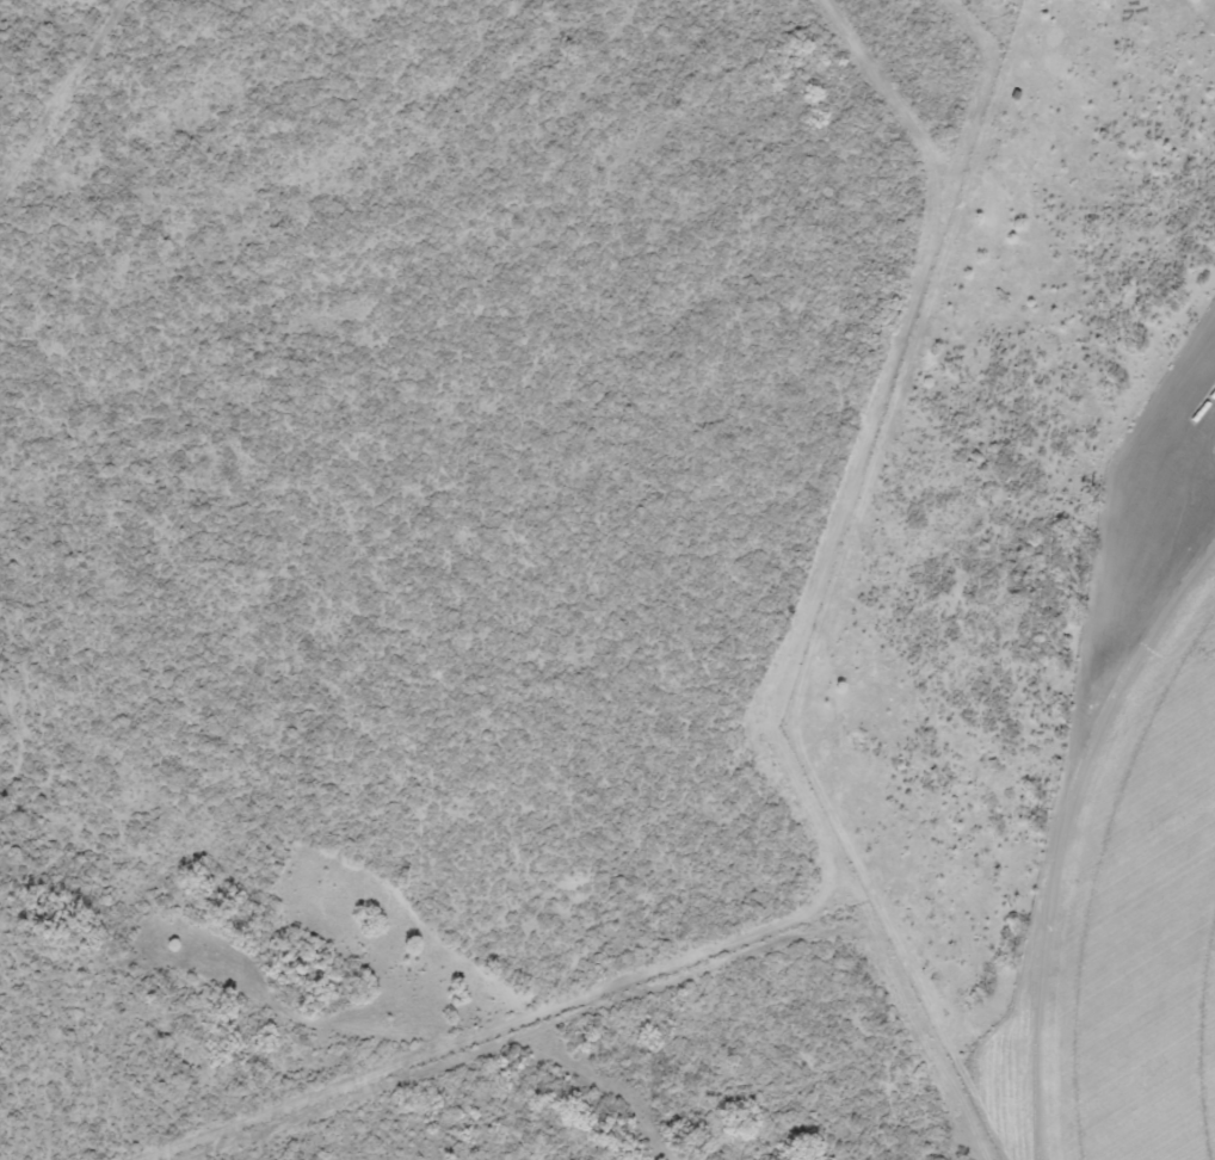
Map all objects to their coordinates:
road: (816, 587)

